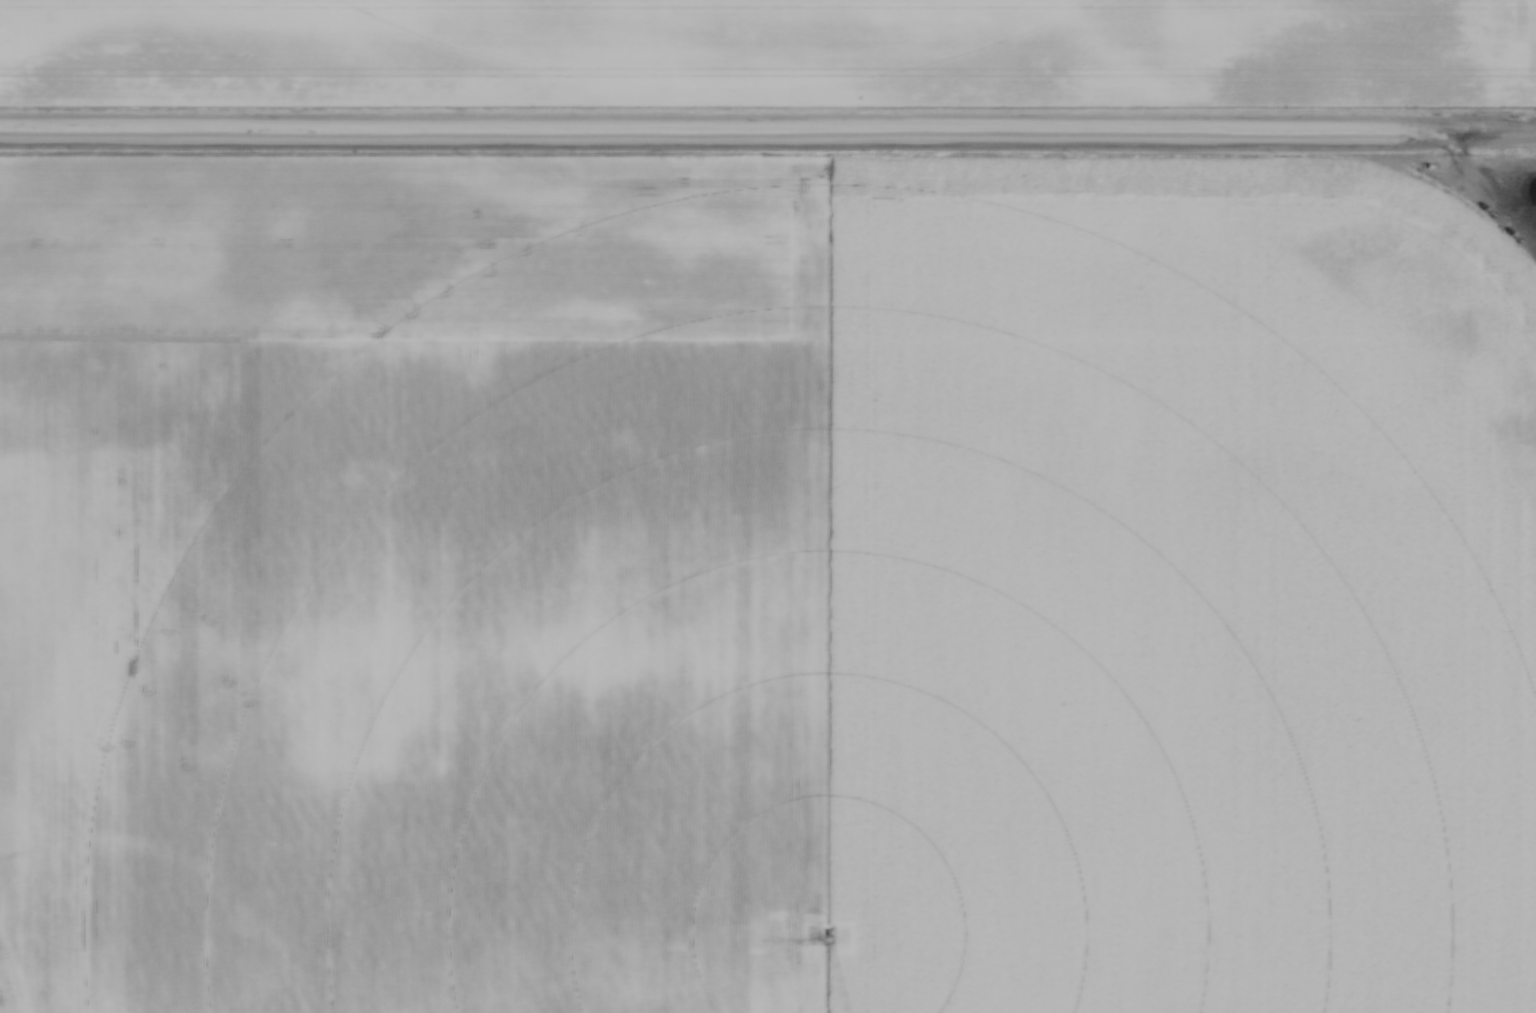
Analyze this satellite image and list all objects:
road: (768, 136)

